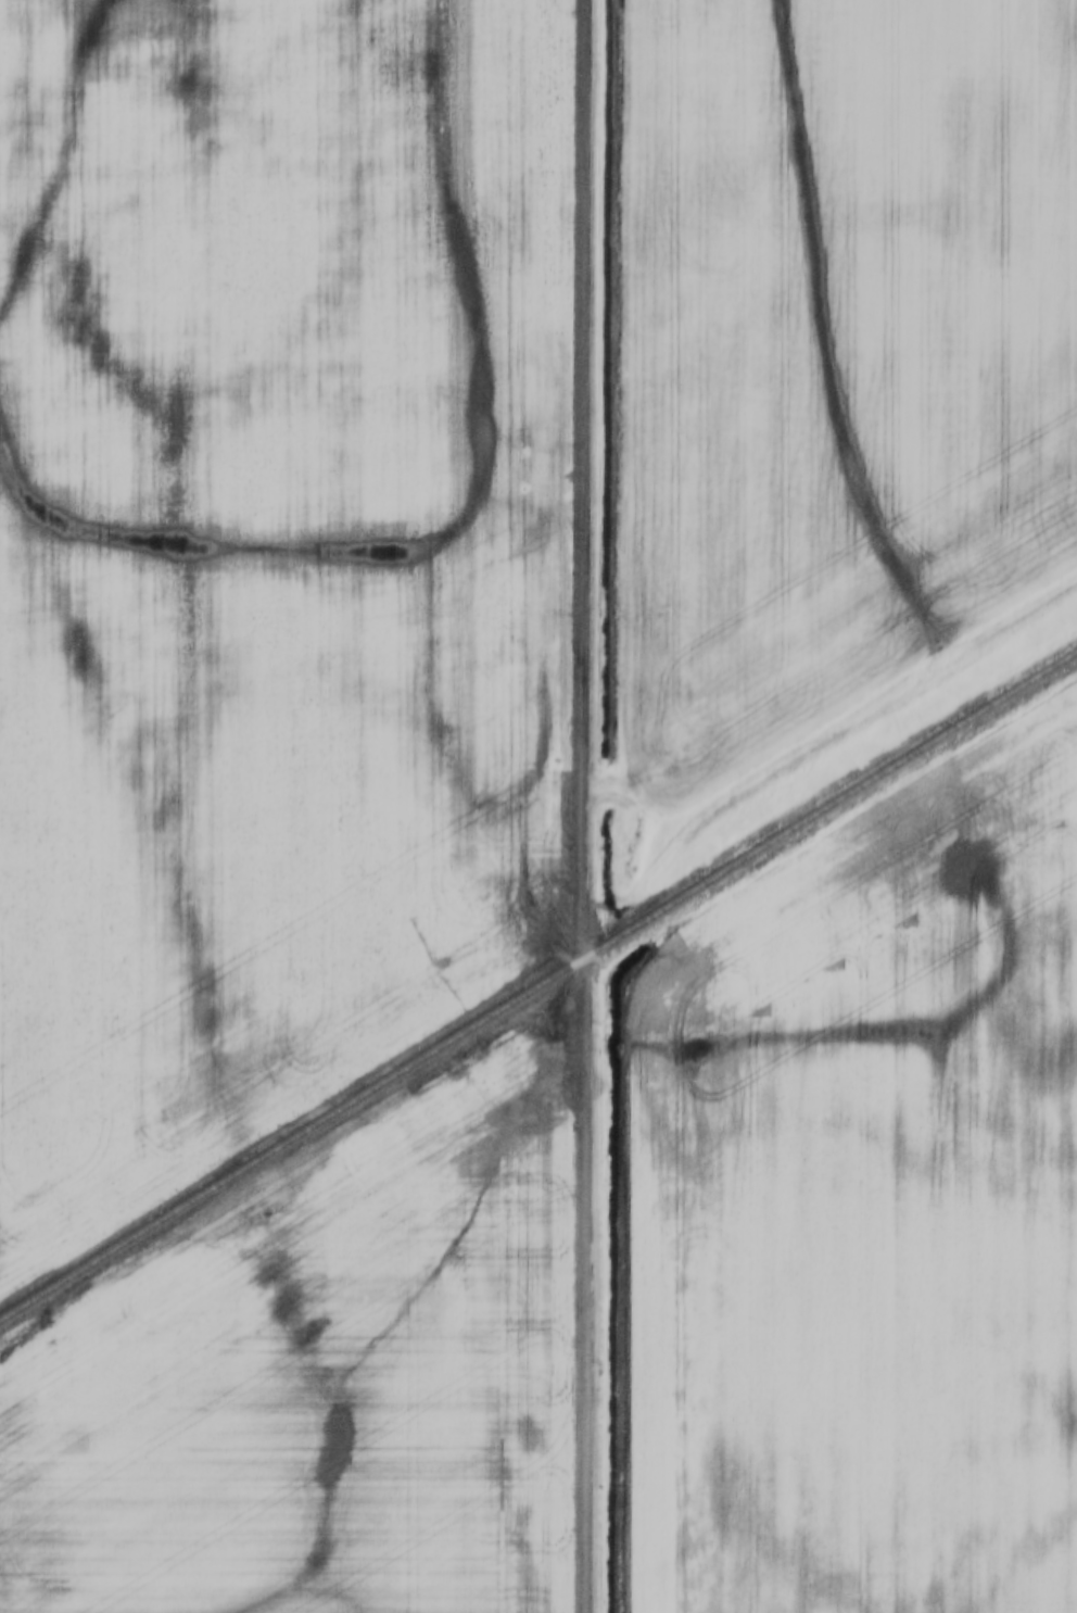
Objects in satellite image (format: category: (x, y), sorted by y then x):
road: (587, 806)
railway: (538, 987)

